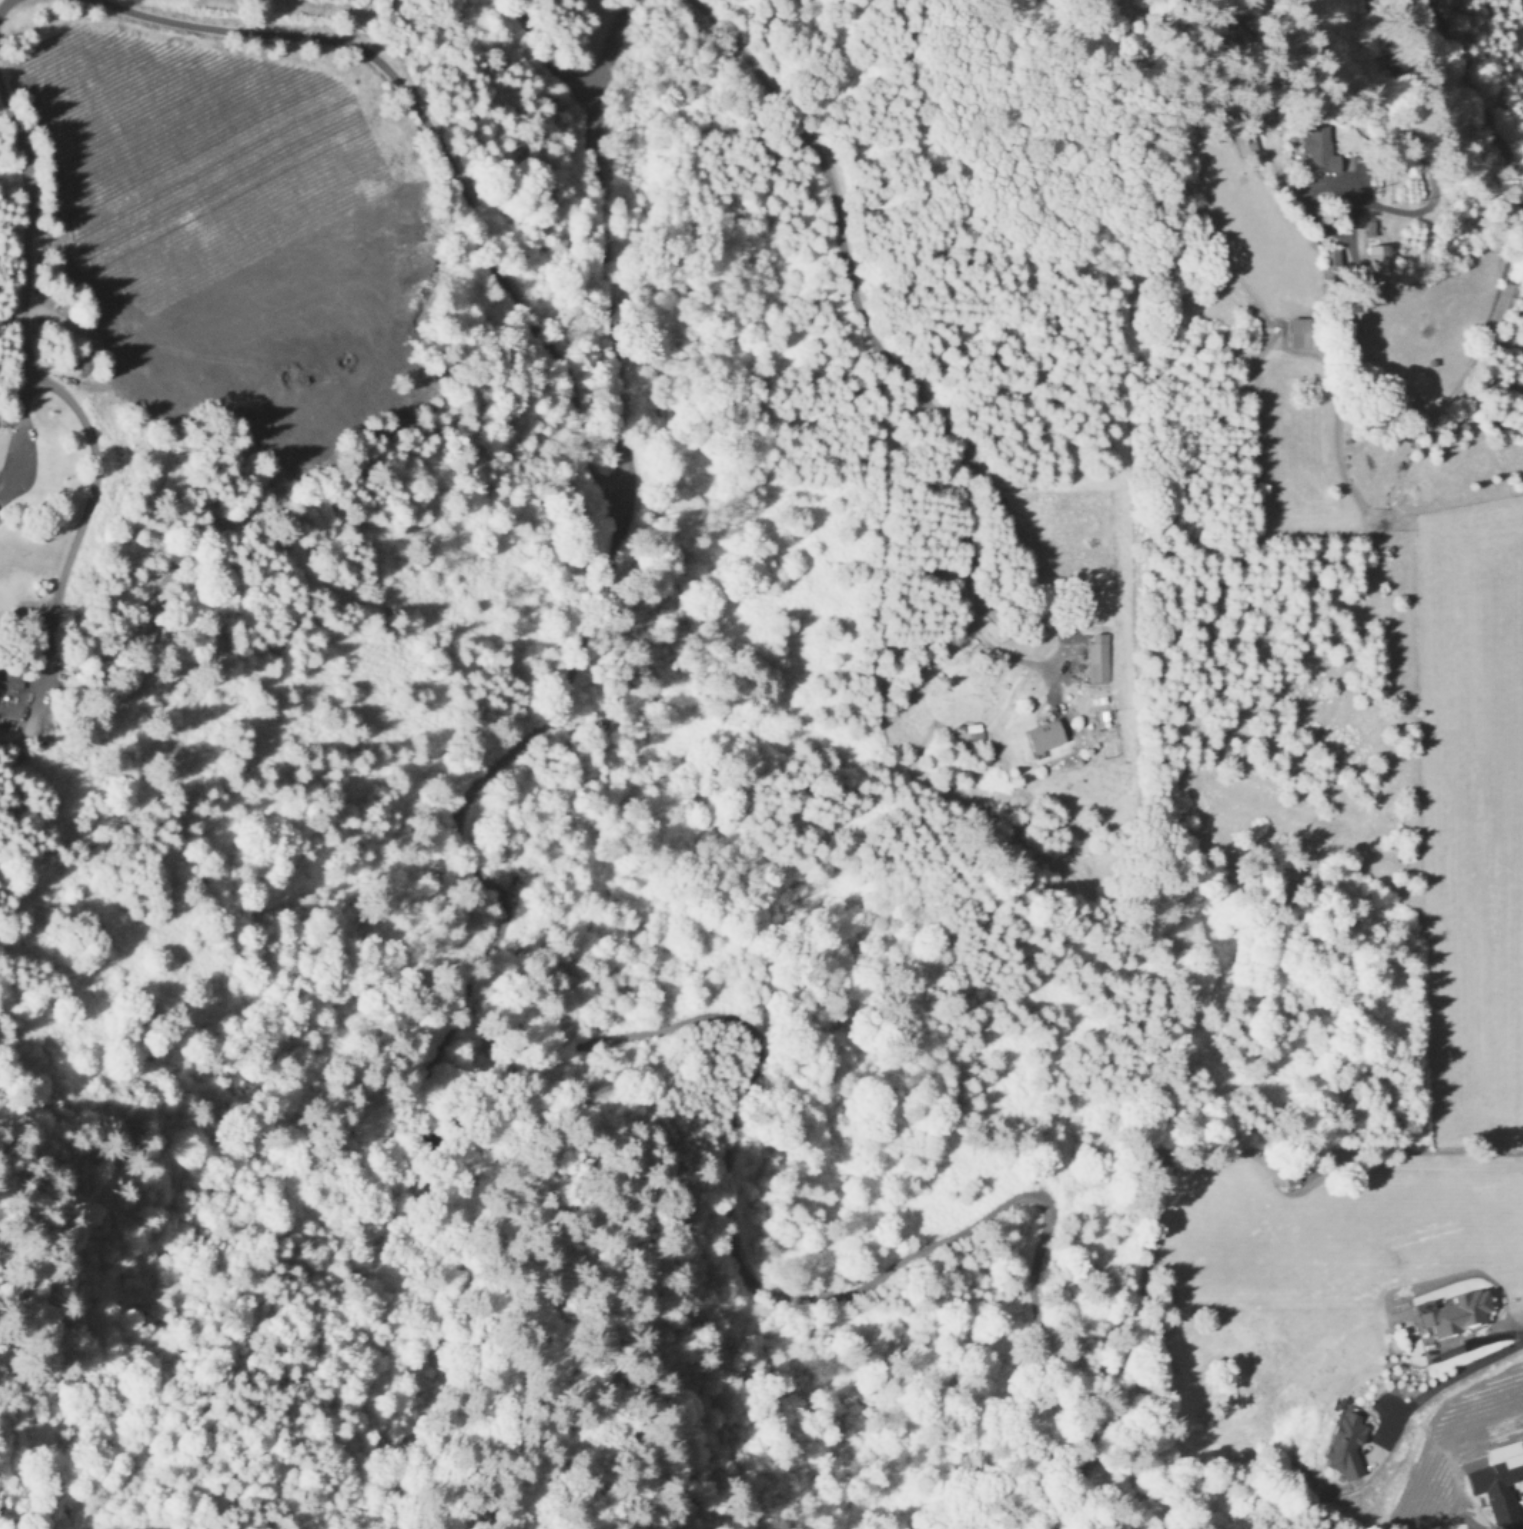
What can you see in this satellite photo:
road: (3, 2)
road: (554, 58)
building: (1246, 142)
building: (1320, 147)
road: (443, 149)
road: (1518, 209)
road: (838, 214)
building: (1370, 227)
road: (608, 243)
building: (1379, 256)
building: (1331, 262)
road: (22, 287)
building: (1099, 656)
road: (1043, 666)
building: (1044, 734)
road: (752, 1069)
building: (1455, 1310)
road: (1464, 1369)
building: (1346, 1440)
building: (1499, 1478)

